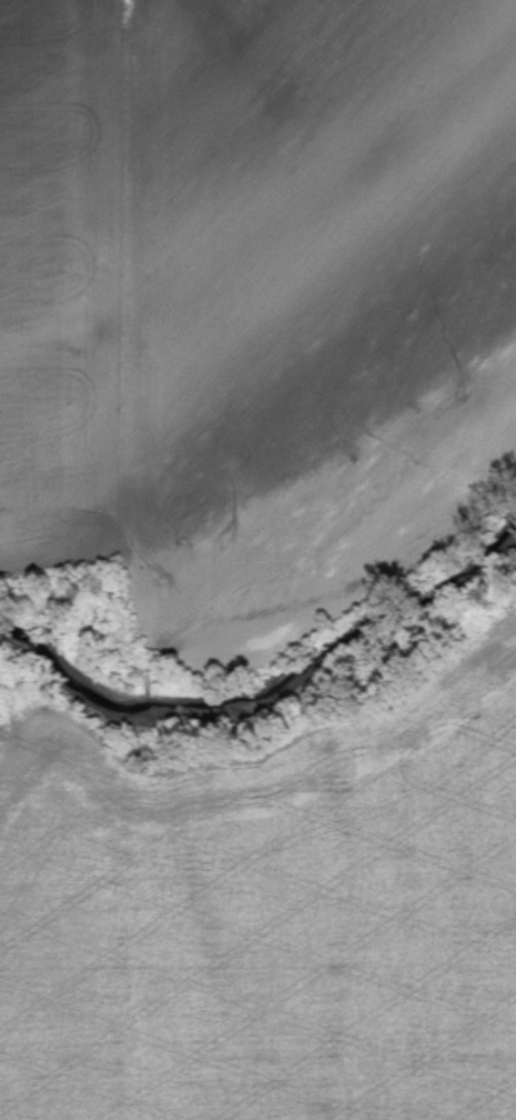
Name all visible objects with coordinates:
river: (269, 684)

